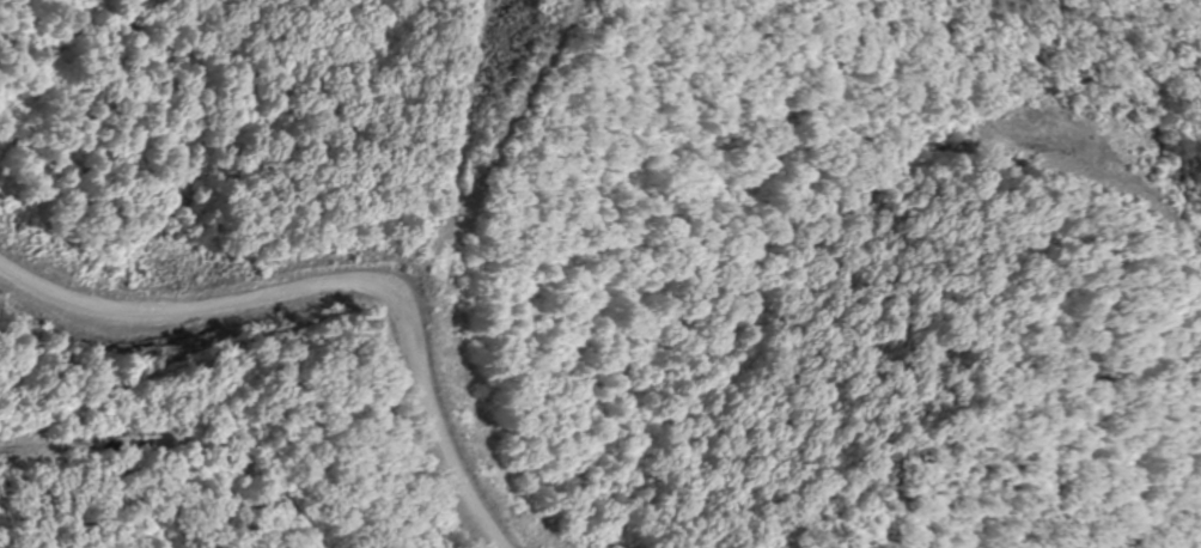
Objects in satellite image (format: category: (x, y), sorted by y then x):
quarry: (275, 389)

